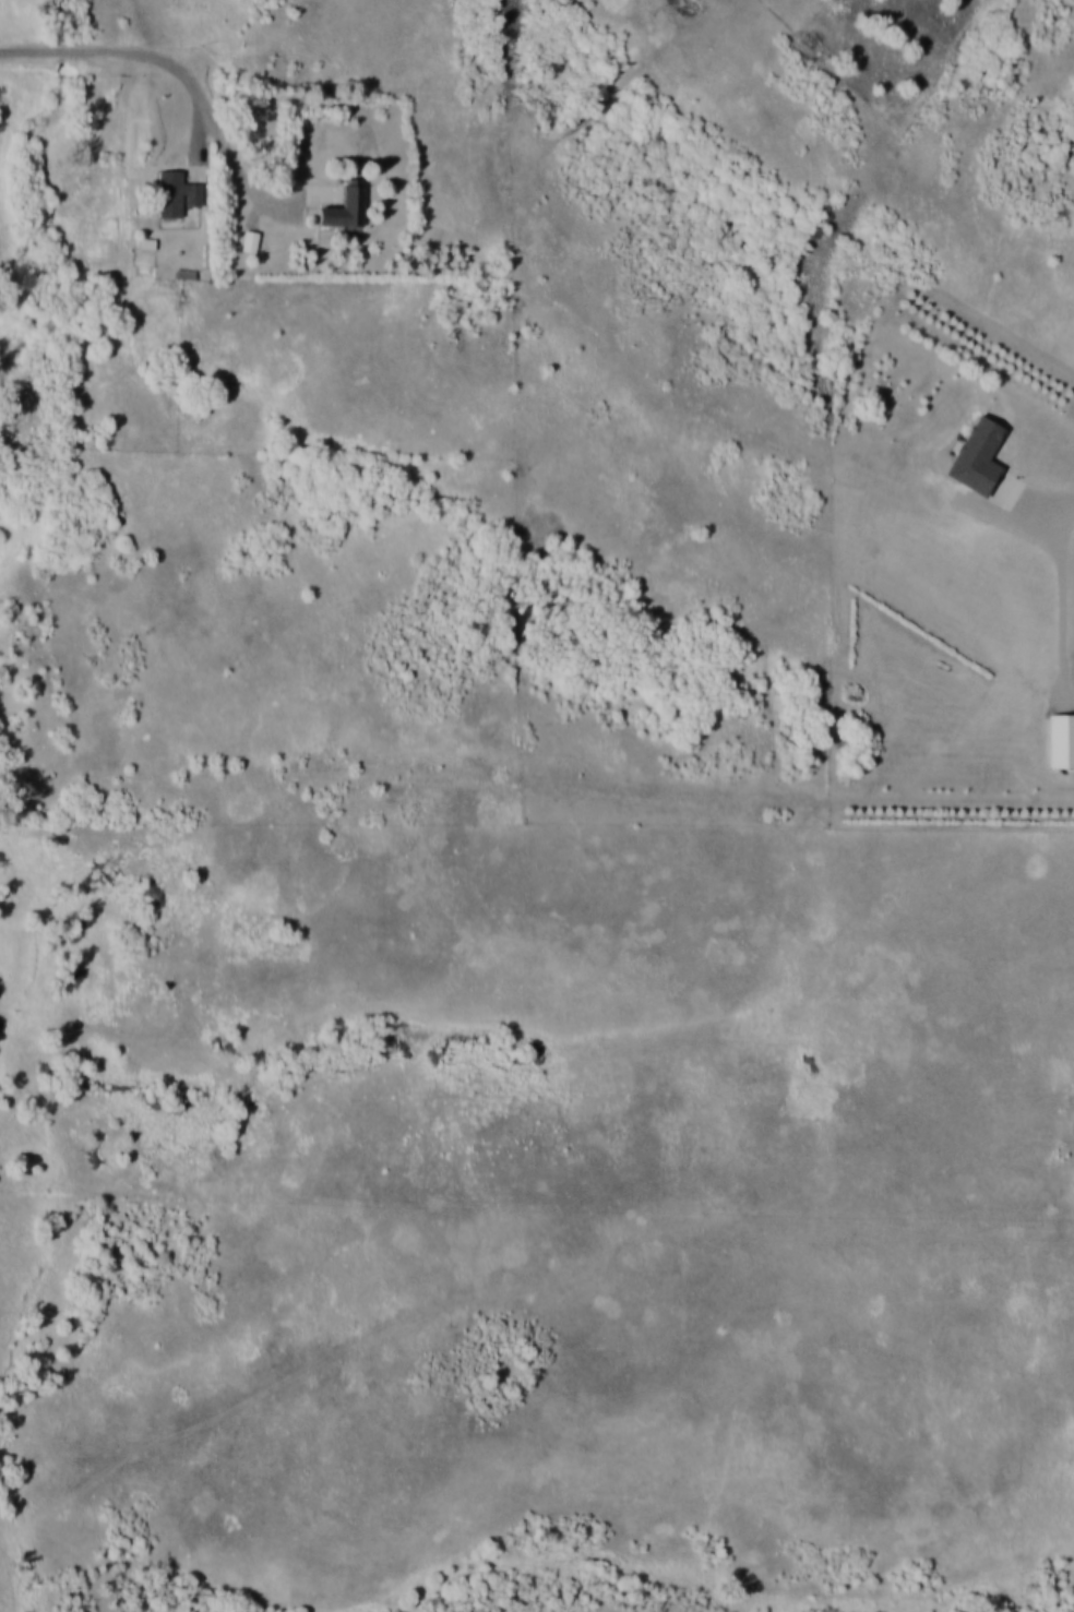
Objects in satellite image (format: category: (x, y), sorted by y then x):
road: (183, 77)
building: (177, 195)
building: (345, 210)
building: (250, 241)
building: (978, 454)
building: (1062, 739)

